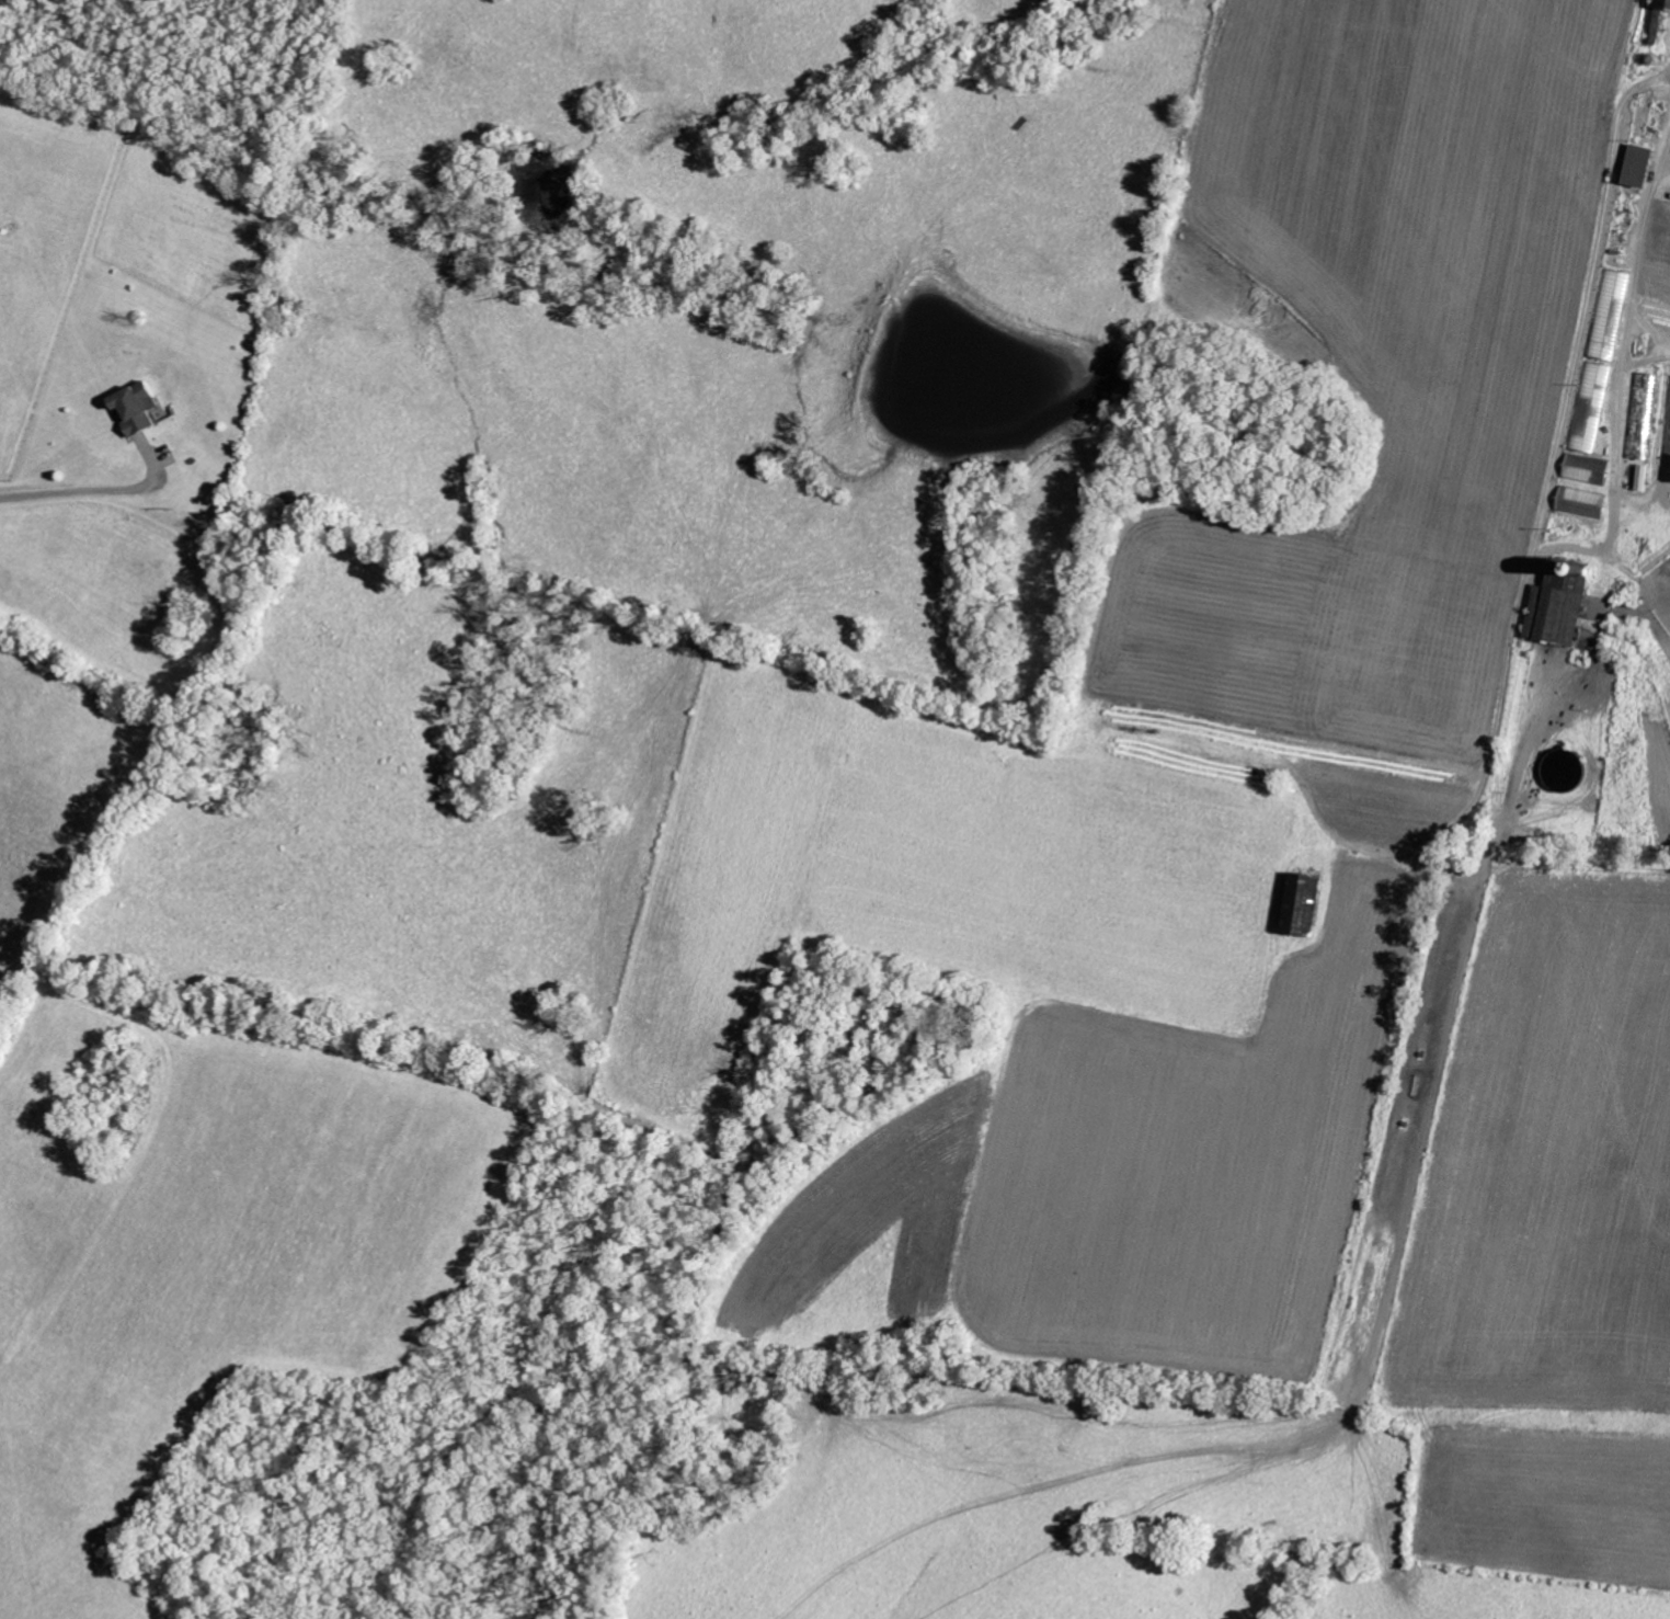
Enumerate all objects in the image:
building: (1663, 4)
building: (1652, 26)
building: (1638, 167)
building: (1609, 313)
road: (1622, 342)
building: (135, 407)
building: (1642, 414)
building: (1585, 469)
road: (80, 492)
building: (1580, 502)
building: (1556, 608)
building: (1302, 903)

